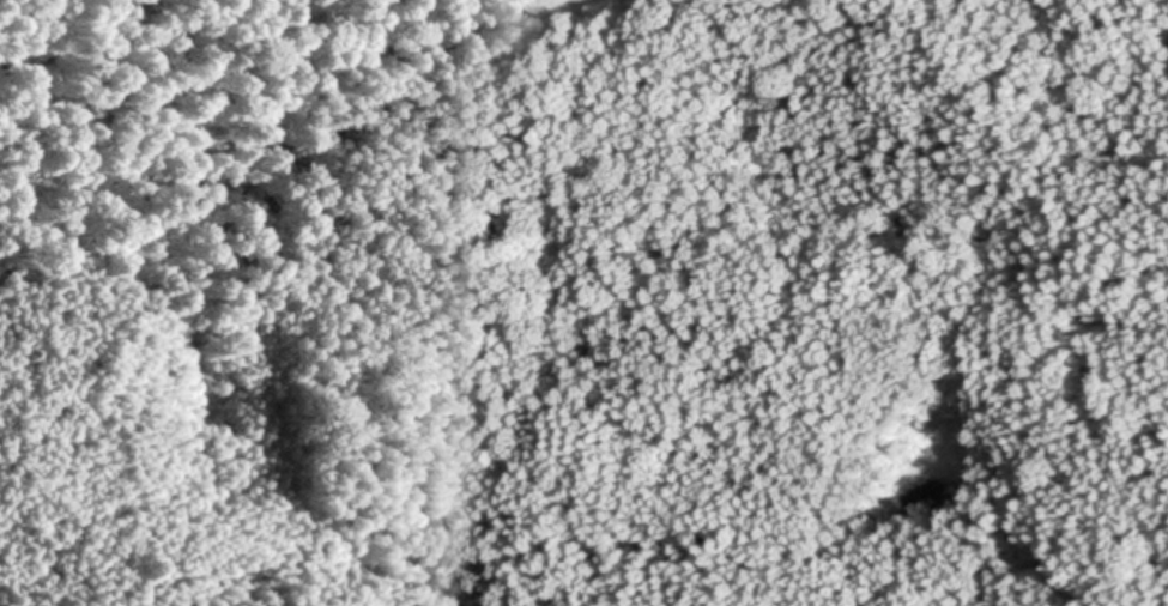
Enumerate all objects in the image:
road: (68, 40)

